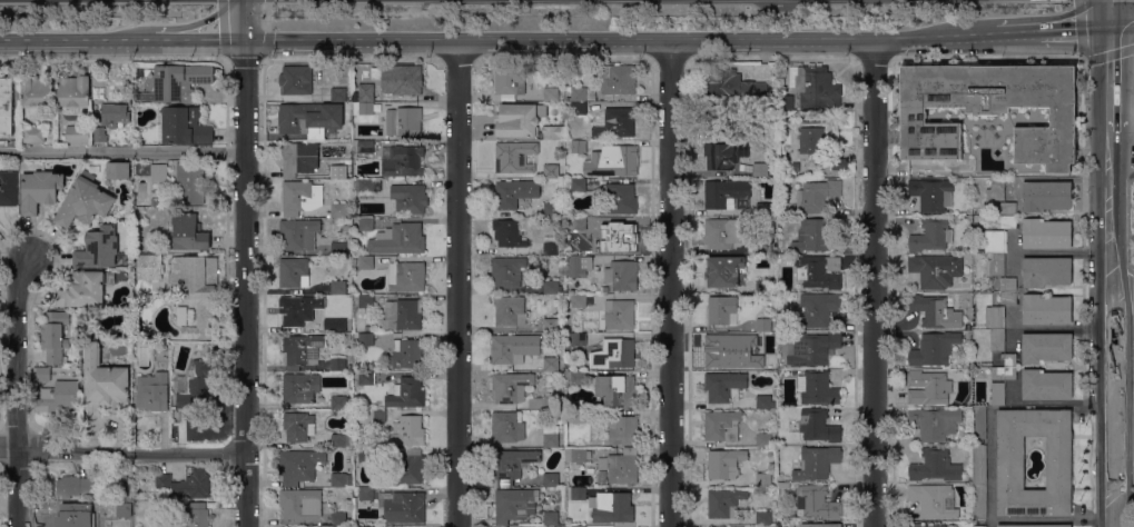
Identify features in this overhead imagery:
road: (266, 0)
road: (1111, 11)
road: (266, 16)
road: (245, 19)
traffic signals: (1112, 23)
road: (1123, 23)
road: (171, 26)
road: (1075, 26)
road: (1016, 29)
road: (219, 38)
traffic signals: (245, 38)
road: (77, 39)
road: (175, 39)
road: (619, 39)
road: (1082, 54)
road: (669, 58)
road: (771, 58)
road: (874, 58)
road: (986, 58)
road: (114, 59)
road: (229, 59)
road: (351, 59)
road: (457, 59)
road: (564, 59)
road: (1111, 77)
building: (618, 78)
building: (297, 79)
building: (402, 79)
building: (177, 82)
building: (510, 82)
building: (732, 84)
building: (817, 87)
building: (75, 90)
building: (37, 91)
building: (366, 91)
building: (582, 92)
building: (551, 93)
building: (338, 95)
building: (786, 102)
building: (6, 106)
building: (579, 108)
building: (362, 110)
building: (115, 115)
building: (989, 116)
building: (309, 117)
building: (719, 117)
building: (519, 119)
building: (404, 121)
building: (617, 122)
building: (844, 123)
building: (185, 126)
road: (1122, 129)
building: (553, 131)
building: (761, 131)
building: (33, 133)
building: (78, 133)
building: (99, 133)
building: (813, 137)
building: (4, 142)
building: (579, 146)
building: (363, 147)
road: (122, 151)
building: (514, 155)
building: (723, 155)
building: (299, 158)
building: (623, 160)
road: (1110, 160)
building: (403, 161)
building: (760, 168)
building: (118, 170)
building: (150, 170)
building: (338, 171)
building: (551, 171)
building: (772, 171)
road: (1122, 173)
building: (190, 182)
building: (363, 185)
building: (579, 185)
building: (9, 188)
building: (996, 189)
building: (39, 190)
building: (514, 192)
building: (933, 193)
building: (719, 195)
building: (813, 196)
building: (1046, 196)
building: (300, 197)
building: (410, 198)
building: (619, 199)
building: (154, 201)
building: (85, 202)
building: (1008, 207)
building: (339, 209)
building: (551, 209)
building: (763, 209)
building: (1006, 221)
building: (366, 223)
building: (579, 223)
building: (188, 232)
building: (722, 232)
building: (298, 233)
building: (509, 233)
building: (816, 233)
building: (1046, 233)
building: (930, 235)
road: (1122, 237)
building: (621, 238)
building: (398, 239)
building: (995, 241)
building: (552, 245)
building: (763, 247)
building: (98, 248)
building: (338, 248)
building: (781, 257)
building: (366, 262)
building: (996, 265)
building: (149, 266)
building: (580, 266)
building: (936, 269)
building: (723, 270)
building: (507, 271)
building: (819, 271)
building: (1046, 271)
building: (294, 272)
building: (622, 275)
building: (406, 276)
road: (874, 281)
road: (245, 282)
road: (457, 282)
road: (670, 282)
building: (1008, 285)
building: (766, 286)
building: (338, 287)
building: (551, 287)
building: (85, 288)
building: (605, 288)
building: (198, 292)
building: (1009, 297)
building: (366, 300)
building: (578, 300)
building: (818, 308)
building: (300, 309)
building: (721, 309)
building: (1046, 309)
building: (510, 310)
building: (934, 310)
building: (619, 314)
building: (403, 315)
building: (181, 316)
building: (995, 317)
building: (338, 325)
building: (551, 325)
building: (763, 325)
building: (55, 335)
building: (773, 335)
building: (579, 338)
building: (366, 339)
building: (998, 340)
building: (514, 347)
building: (1046, 347)
building: (205, 348)
building: (813, 348)
building: (719, 349)
building: (934, 349)
building: (303, 350)
building: (406, 354)
building: (614, 354)
road: (1110, 358)
building: (1009, 359)
building: (766, 362)
building: (338, 364)
building: (551, 364)
building: (1004, 372)
building: (43, 374)
building: (366, 377)
building: (575, 377)
building: (105, 382)
building: (199, 384)
building: (723, 385)
building: (1046, 385)
building: (511, 386)
building: (300, 387)
building: (929, 387)
building: (820, 388)
road: (17, 390)
building: (618, 390)
building: (152, 391)
building: (407, 392)
building: (997, 394)
building: (59, 397)
building: (543, 401)
building: (763, 401)
building: (342, 402)
road: (990, 406)
building: (372, 416)
building: (579, 416)
building: (935, 422)
building: (979, 422)
building: (818, 425)
building: (299, 426)
building: (724, 426)
building: (507, 427)
building: (407, 430)
building: (623, 430)
building: (551, 435)
building: (763, 439)
building: (341, 440)
road: (1122, 440)
road: (121, 453)
building: (366, 455)
building: (578, 455)
building: (726, 463)
building: (817, 463)
building: (1010, 463)
building: (299, 465)
building: (511, 465)
building: (935, 465)
building: (621, 466)
building: (405, 468)
building: (115, 474)
building: (602, 477)
building: (342, 479)
building: (551, 479)
building: (763, 479)
building: (979, 481)
building: (187, 484)
building: (75, 486)
building: (366, 493)
building: (579, 493)
building: (934, 500)
building: (727, 501)
building: (817, 501)
building: (302, 504)
building: (512, 504)
building: (403, 506)
building: (613, 507)
building: (124, 510)
building: (75, 515)
building: (196, 515)
building: (338, 518)
building: (551, 518)
building: (763, 518)
road: (1051, 519)
building: (819, 525)
building: (915, 525)
building: (1034, 525)
building: (366, 526)
building: (527, 526)
building: (579, 526)
building: (714, 526)
building: (979, 526)

